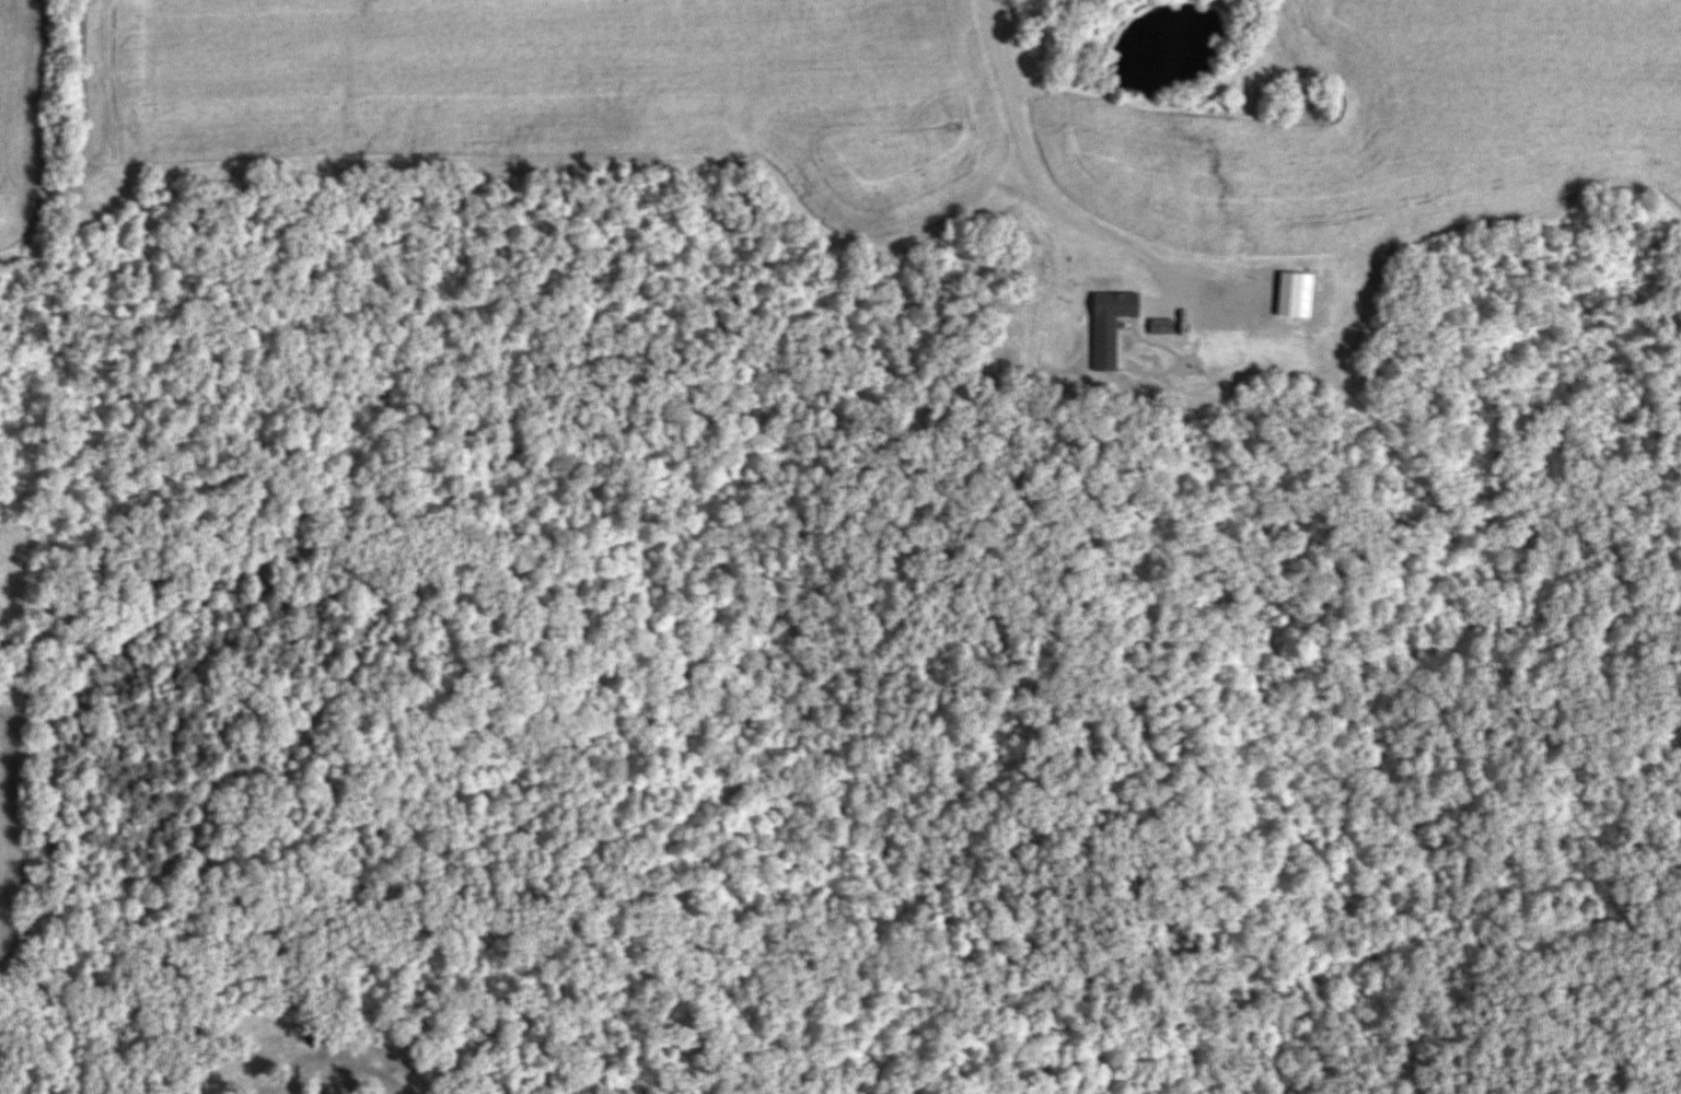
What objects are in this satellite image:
road: (1033, 174)
building: (1283, 296)
building: (1118, 306)

